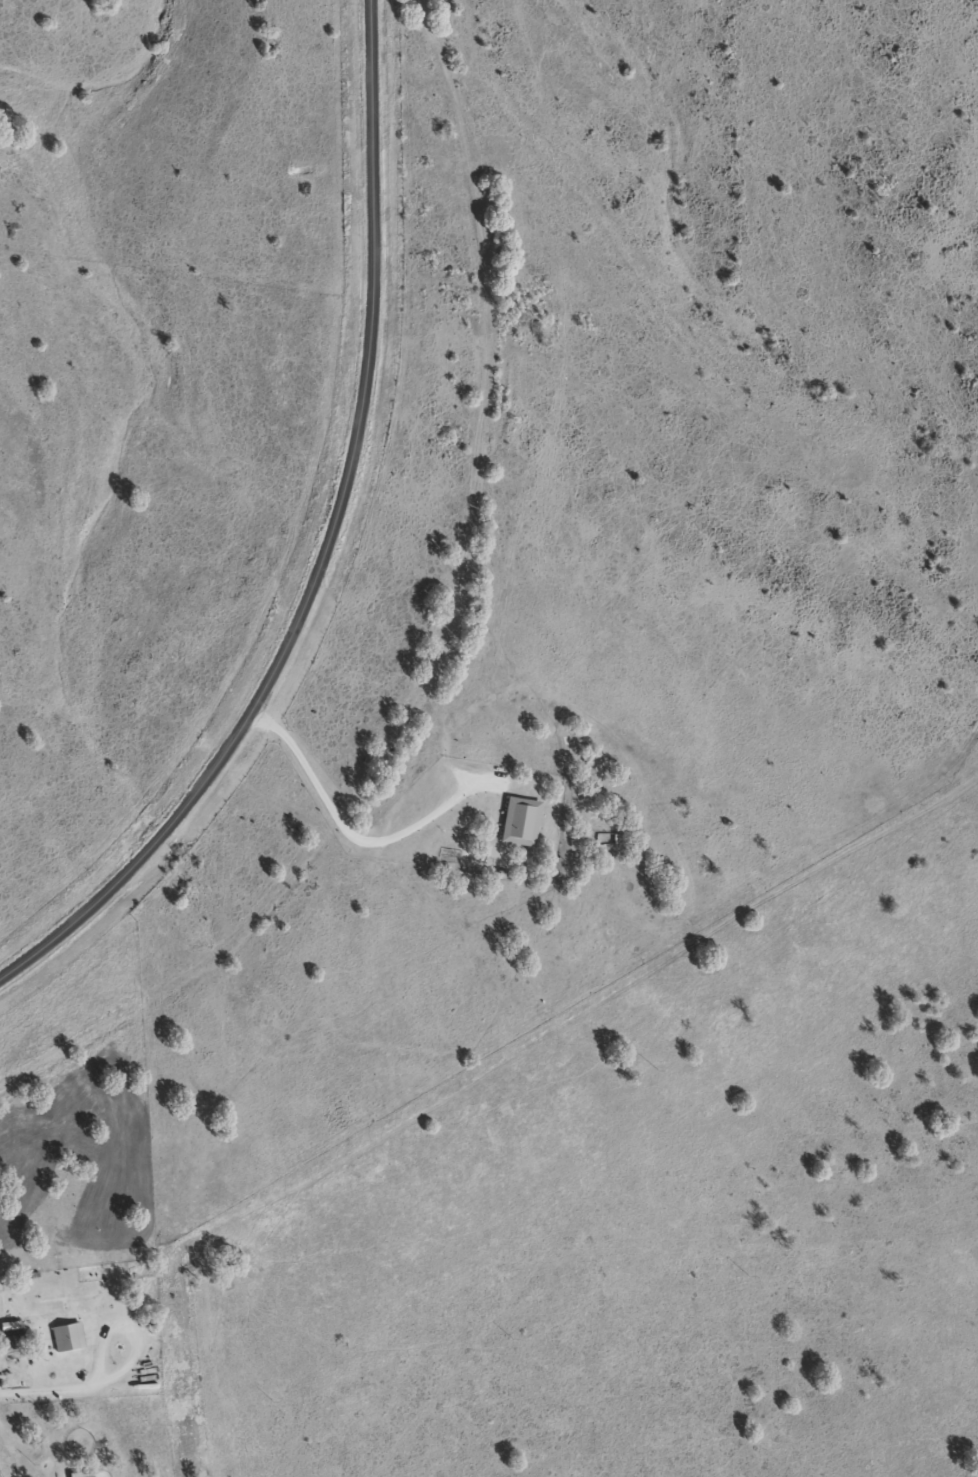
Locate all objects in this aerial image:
road: (327, 546)
building: (68, 1336)
building: (13, 1341)
building: (82, 1474)

